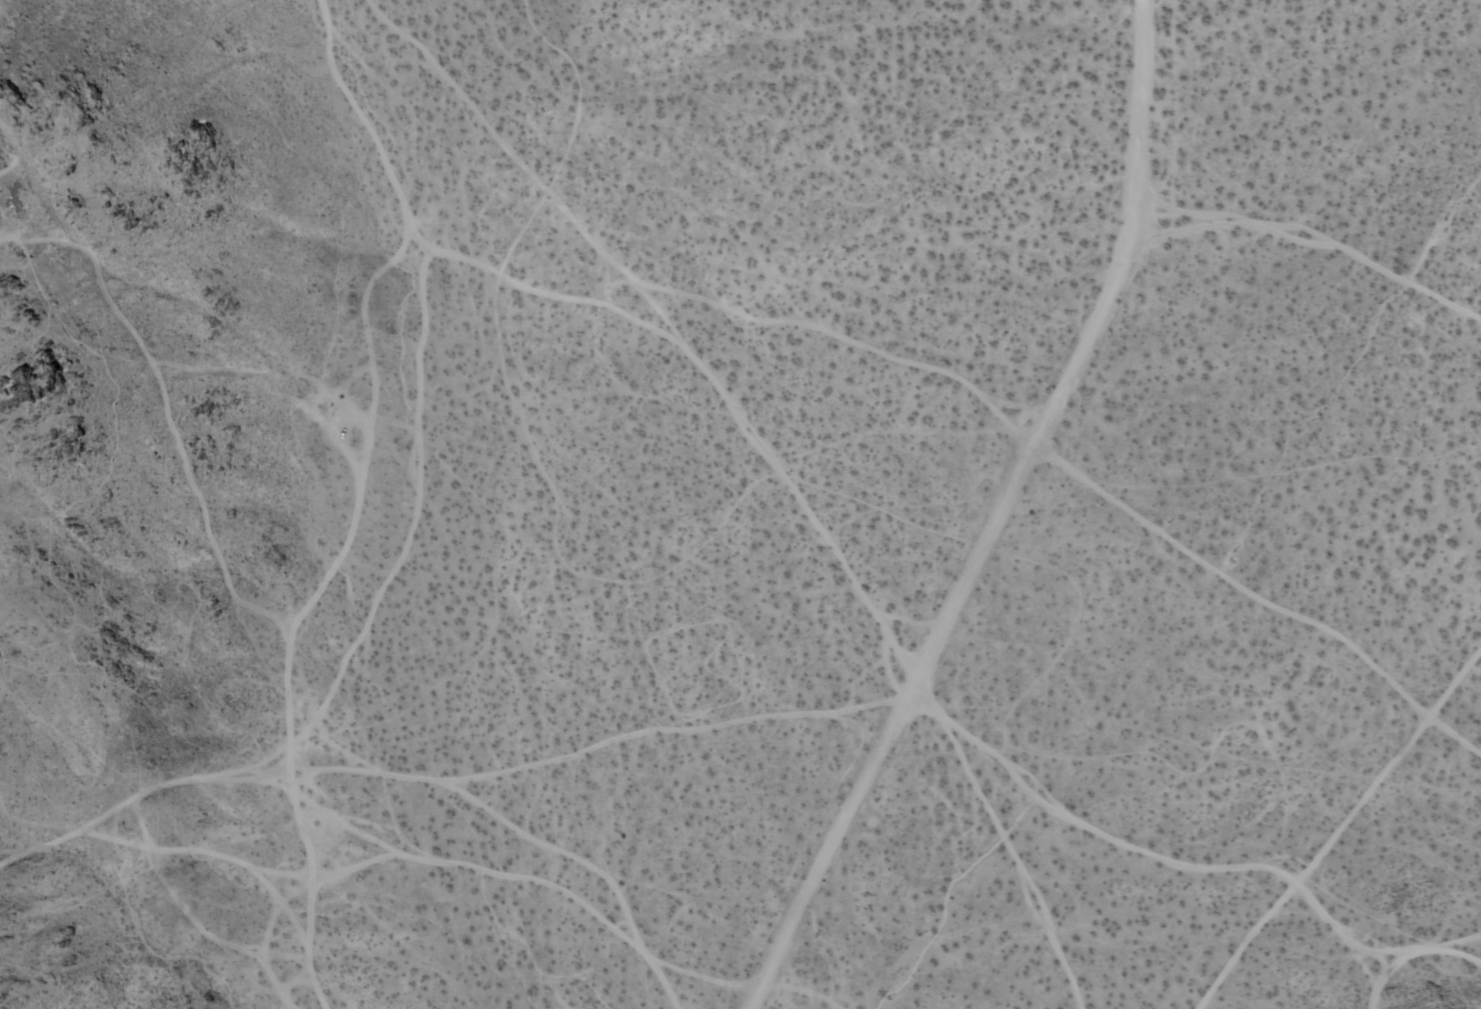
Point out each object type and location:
road: (994, 519)
road: (1338, 827)

